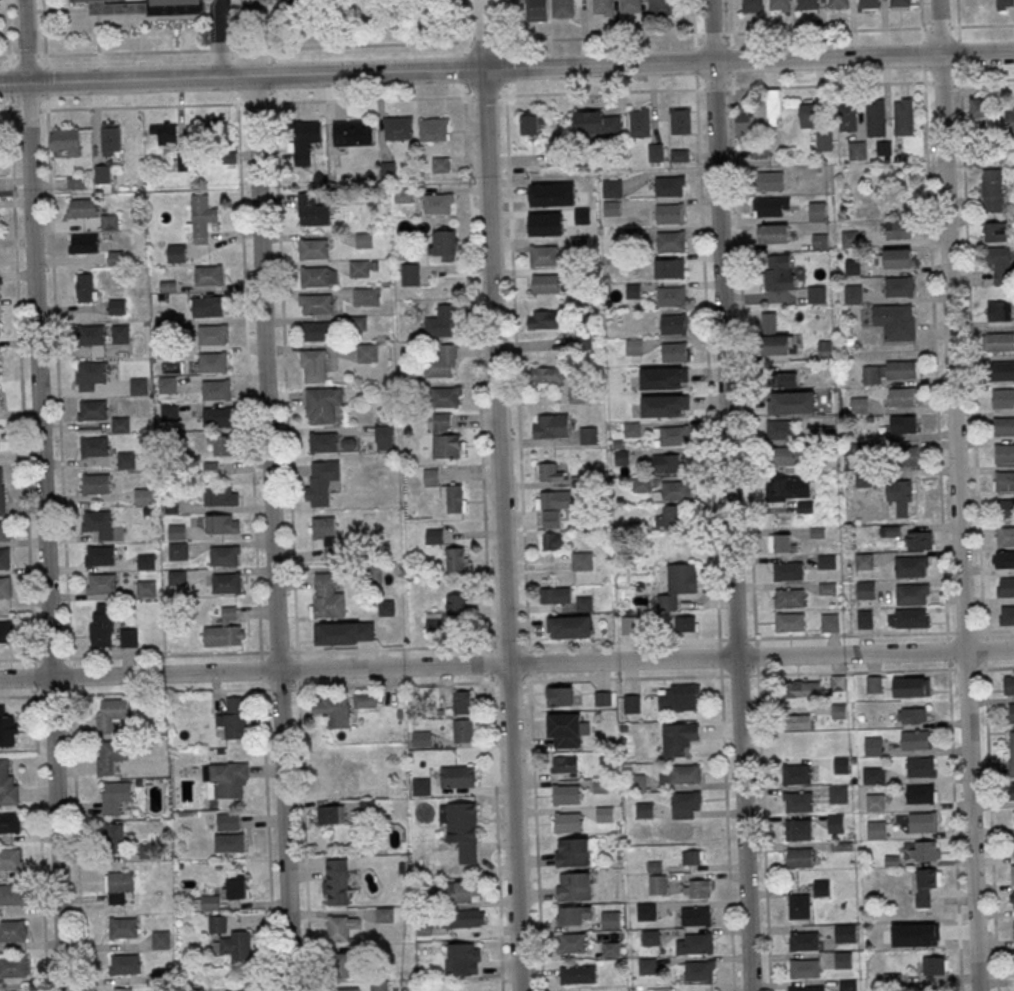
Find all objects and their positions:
building: (899, 2)
building: (838, 3)
building: (970, 3)
building: (807, 4)
building: (870, 4)
building: (1004, 4)
building: (630, 5)
building: (660, 5)
building: (752, 5)
building: (778, 5)
building: (145, 6)
building: (603, 6)
building: (563, 8)
building: (536, 10)
road: (958, 13)
road: (462, 20)
road: (986, 25)
road: (44, 27)
road: (7, 28)
road: (220, 38)
road: (502, 40)
road: (503, 47)
road: (507, 68)
road: (480, 96)
building: (775, 106)
building: (980, 107)
road: (24, 111)
building: (809, 114)
building: (848, 116)
building: (903, 117)
building: (875, 118)
building: (680, 120)
building: (639, 121)
building: (744, 122)
building: (532, 123)
building: (597, 123)
building: (1010, 123)
building: (398, 127)
building: (433, 129)
building: (214, 130)
building: (164, 131)
building: (308, 132)
building: (353, 132)
building: (110, 138)
building: (66, 141)
building: (824, 141)
building: (856, 150)
building: (656, 152)
building: (679, 155)
building: (183, 159)
building: (441, 164)
building: (102, 173)
building: (769, 180)
building: (669, 185)
building: (612, 188)
building: (991, 189)
building: (403, 194)
building: (438, 203)
building: (771, 206)
building: (82, 207)
building: (612, 208)
building: (818, 211)
building: (669, 213)
building: (313, 215)
building: (202, 217)
building: (994, 231)
building: (773, 233)
building: (632, 235)
building: (848, 237)
building: (365, 239)
building: (820, 240)
building: (670, 241)
building: (83, 243)
building: (444, 245)
building: (314, 249)
building: (176, 252)
building: (543, 255)
building: (899, 257)
building: (1, 259)
building: (999, 263)
building: (359, 268)
building: (669, 268)
building: (779, 272)
building: (410, 273)
building: (209, 275)
building: (315, 277)
building: (546, 283)
building: (86, 286)
building: (899, 286)
building: (0, 290)
building: (634, 290)
building: (853, 293)
building: (817, 294)
building: (366, 295)
building: (671, 296)
building: (316, 303)
building: (207, 306)
building: (999, 310)
road: (742, 318)
building: (543, 319)
building: (441, 321)
building: (895, 321)
building: (673, 323)
building: (0, 327)
building: (316, 330)
road: (495, 331)
building: (120, 333)
building: (91, 335)
building: (212, 335)
road: (706, 338)
building: (998, 341)
building: (775, 344)
building: (634, 346)
building: (825, 350)
building: (674, 351)
building: (367, 352)
building: (441, 361)
building: (213, 362)
building: (314, 365)
road: (935, 366)
building: (891, 370)
building: (1002, 370)
building: (89, 374)
building: (547, 374)
road: (285, 376)
road: (249, 377)
building: (663, 377)
building: (784, 379)
building: (167, 384)
building: (139, 385)
building: (217, 390)
building: (578, 394)
building: (446, 396)
building: (902, 396)
building: (1003, 398)
building: (791, 402)
building: (323, 404)
building: (664, 404)
building: (94, 410)
building: (169, 412)
building: (217, 417)
building: (121, 424)
building: (903, 424)
building: (551, 425)
building: (1003, 425)
building: (780, 428)
building: (588, 435)
building: (672, 435)
building: (383, 436)
building: (446, 437)
building: (323, 442)
building: (222, 445)
building: (94, 447)
building: (1004, 453)
building: (784, 455)
building: (908, 455)
building: (126, 459)
building: (666, 463)
building: (549, 472)
building: (431, 476)
building: (863, 478)
building: (1003, 480)
building: (321, 481)
road: (521, 483)
building: (97, 484)
building: (641, 484)
building: (783, 487)
building: (674, 491)
building: (1, 492)
road: (43, 495)
road: (729, 495)
road: (956, 495)
building: (143, 496)
building: (900, 496)
building: (221, 497)
building: (453, 498)
building: (556, 505)
building: (1005, 507)
building: (670, 516)
building: (98, 520)
building: (222, 525)
building: (889, 530)
building: (4, 531)
building: (177, 531)
road: (274, 533)
building: (327, 534)
building: (434, 535)
building: (1005, 536)
building: (918, 540)
building: (552, 541)
building: (781, 542)
building: (177, 550)
building: (100, 555)
building: (224, 556)
building: (4, 558)
building: (456, 559)
building: (1003, 559)
building: (146, 560)
building: (582, 560)
building: (826, 561)
building: (864, 561)
building: (911, 566)
building: (788, 570)
building: (176, 577)
building: (102, 583)
building: (226, 583)
building: (679, 584)
building: (5, 587)
building: (1005, 587)
building: (146, 588)
building: (865, 589)
building: (912, 594)
building: (556, 595)
building: (326, 596)
building: (789, 598)
building: (583, 603)
building: (457, 604)
building: (1007, 615)
building: (864, 618)
building: (908, 618)
building: (790, 621)
building: (435, 622)
building: (829, 622)
building: (686, 623)
building: (101, 624)
building: (629, 624)
building: (569, 626)
building: (224, 631)
building: (344, 633)
building: (6, 634)
road: (815, 636)
building: (128, 637)
road: (359, 649)
road: (507, 664)
building: (873, 684)
building: (1009, 685)
building: (803, 688)
building: (911, 688)
building: (560, 695)
building: (680, 697)
building: (462, 702)
building: (631, 703)
building: (329, 710)
building: (110, 713)
building: (1011, 713)
building: (911, 715)
building: (232, 718)
building: (798, 721)
building: (463, 730)
building: (564, 730)
building: (7, 731)
building: (679, 738)
building: (915, 740)
building: (872, 746)
building: (110, 756)
building: (1011, 756)
building: (367, 763)
building: (565, 763)
building: (921, 767)
building: (682, 773)
building: (796, 774)
building: (873, 775)
building: (457, 776)
building: (227, 780)
building: (332, 781)
building: (635, 782)
building: (7, 785)
building: (421, 786)
building: (1011, 790)
building: (566, 793)
building: (838, 793)
building: (920, 794)
road: (989, 795)
building: (115, 796)
building: (797, 801)
building: (875, 802)
building: (686, 804)
building: (644, 809)
building: (604, 813)
building: (331, 814)
building: (228, 821)
building: (566, 822)
building: (835, 822)
building: (923, 822)
building: (9, 823)
road: (515, 827)
building: (463, 829)
building: (798, 829)
building: (875, 829)
road: (727, 833)
building: (113, 837)
building: (229, 842)
building: (1013, 847)
building: (146, 850)
building: (924, 850)
building: (572, 851)
building: (692, 857)
building: (799, 857)
building: (10, 858)
building: (1013, 874)
building: (336, 881)
building: (657, 884)
building: (924, 885)
building: (119, 886)
building: (573, 886)
building: (697, 887)
building: (821, 887)
building: (236, 888)
building: (458, 891)
building: (12, 895)
building: (1012, 898)
building: (207, 902)
building: (799, 906)
building: (646, 911)
building: (384, 914)
building: (574, 915)
building: (696, 915)
building: (464, 918)
building: (611, 919)
building: (217, 924)
building: (341, 926)
building: (122, 927)
building: (12, 931)
building: (845, 933)
building: (930, 937)
building: (161, 939)
building: (803, 940)
building: (572, 942)
building: (694, 942)
building: (237, 944)
building: (610, 949)
building: (461, 956)
building: (843, 959)
building: (124, 964)
building: (341, 964)
building: (647, 965)
building: (934, 965)
building: (13, 967)
building: (804, 968)
building: (696, 970)
building: (577, 974)
building: (162, 975)
building: (847, 985)
building: (379, 986)
building: (806, 988)
building: (122, 989)
building: (345, 989)

